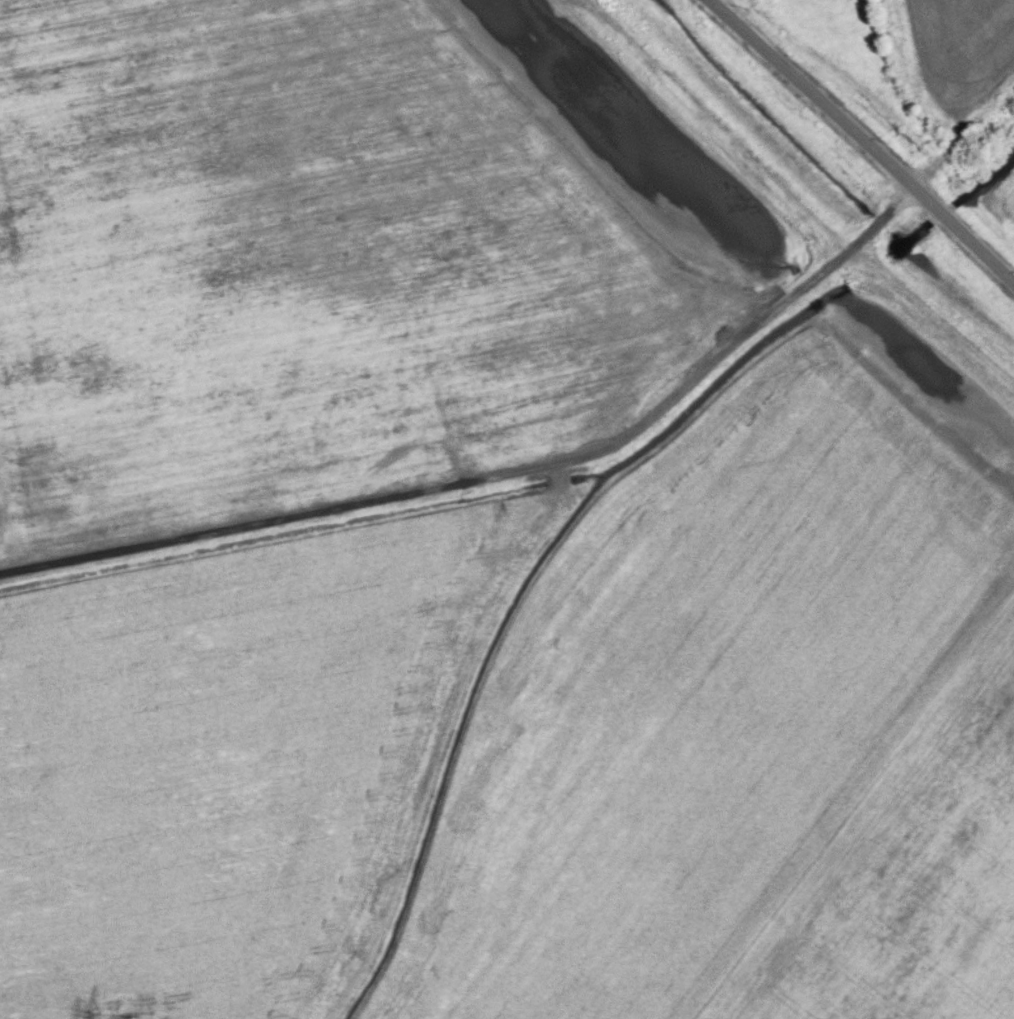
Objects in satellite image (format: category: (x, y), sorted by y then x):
road: (863, 140)

